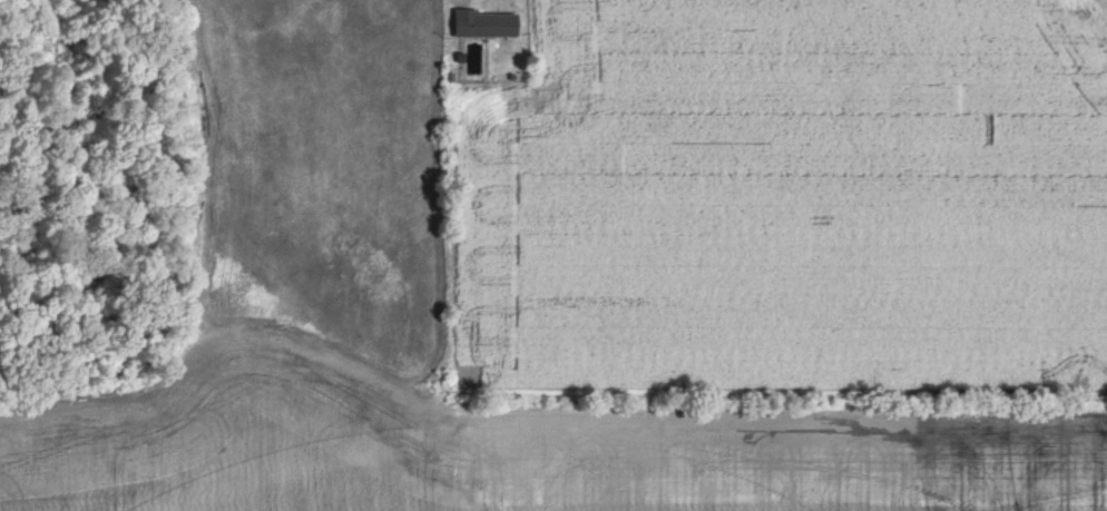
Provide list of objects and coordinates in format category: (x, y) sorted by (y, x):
road: (503, 1)
building: (482, 23)

